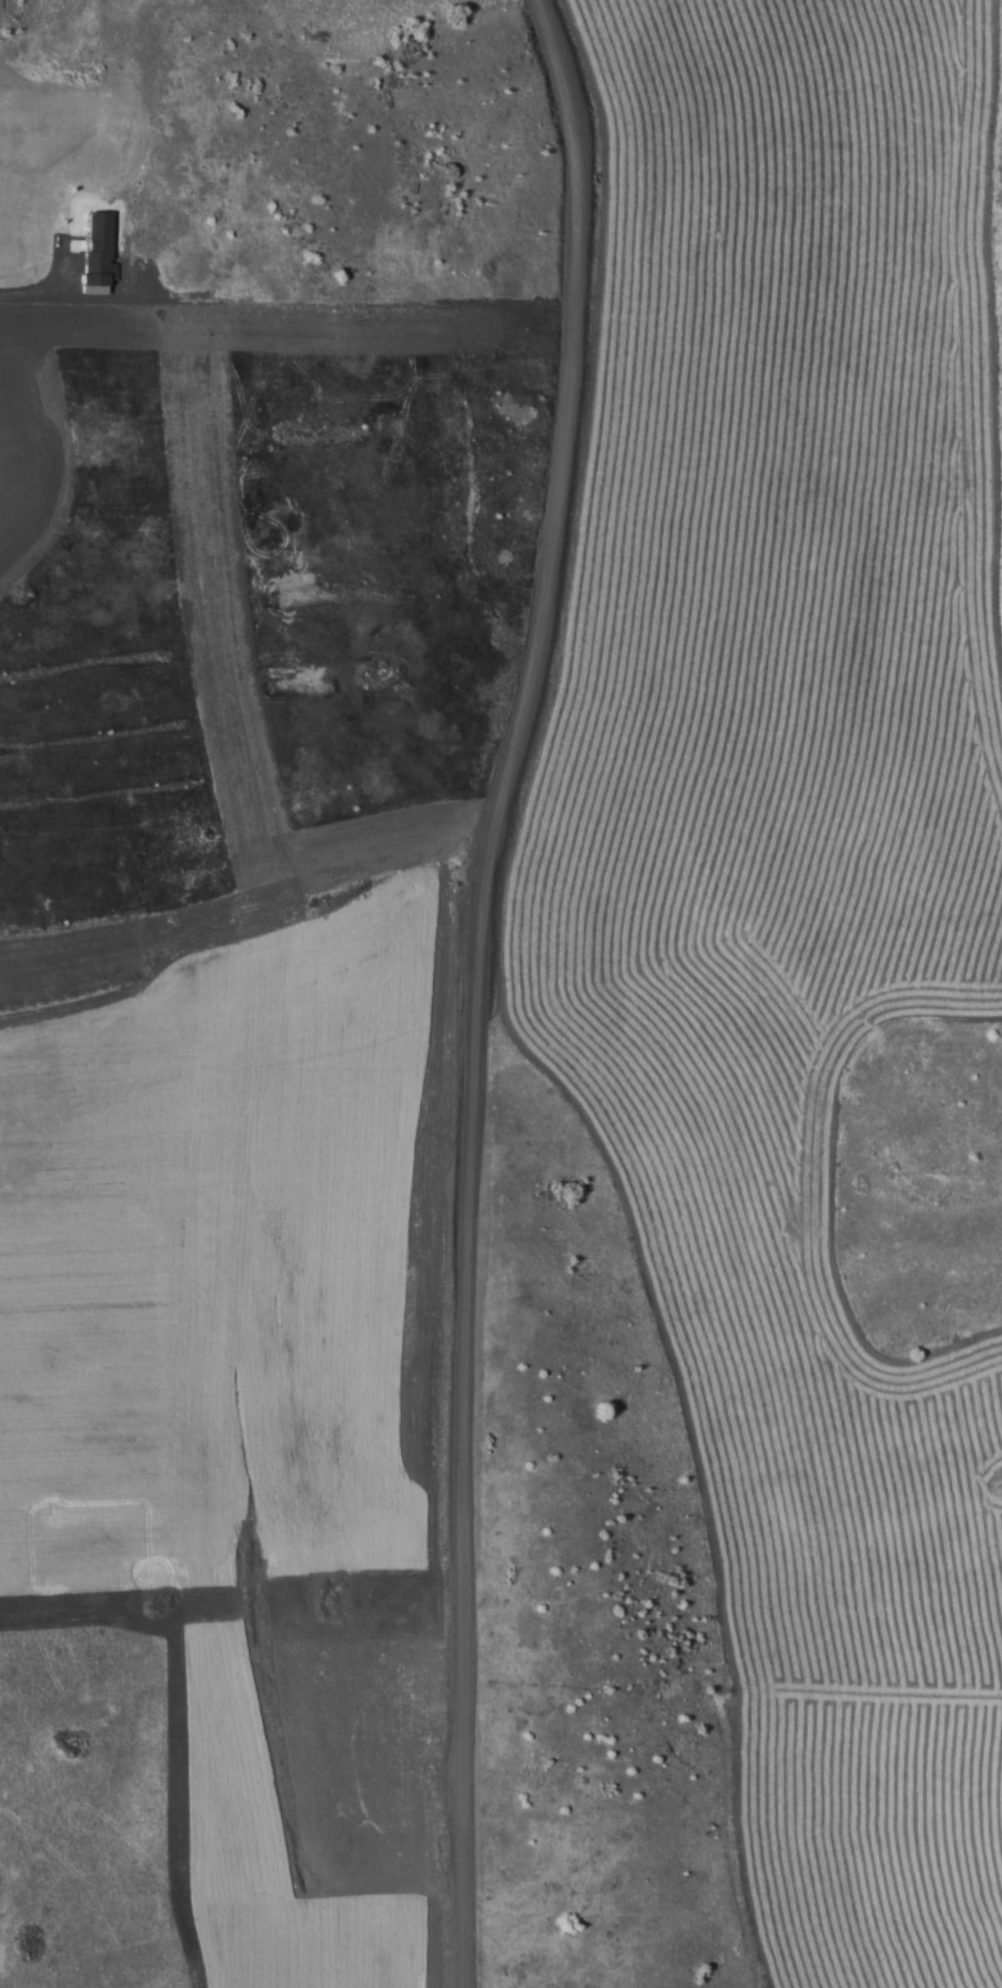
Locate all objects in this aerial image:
building: (98, 230)
building: (88, 262)
road: (479, 986)

